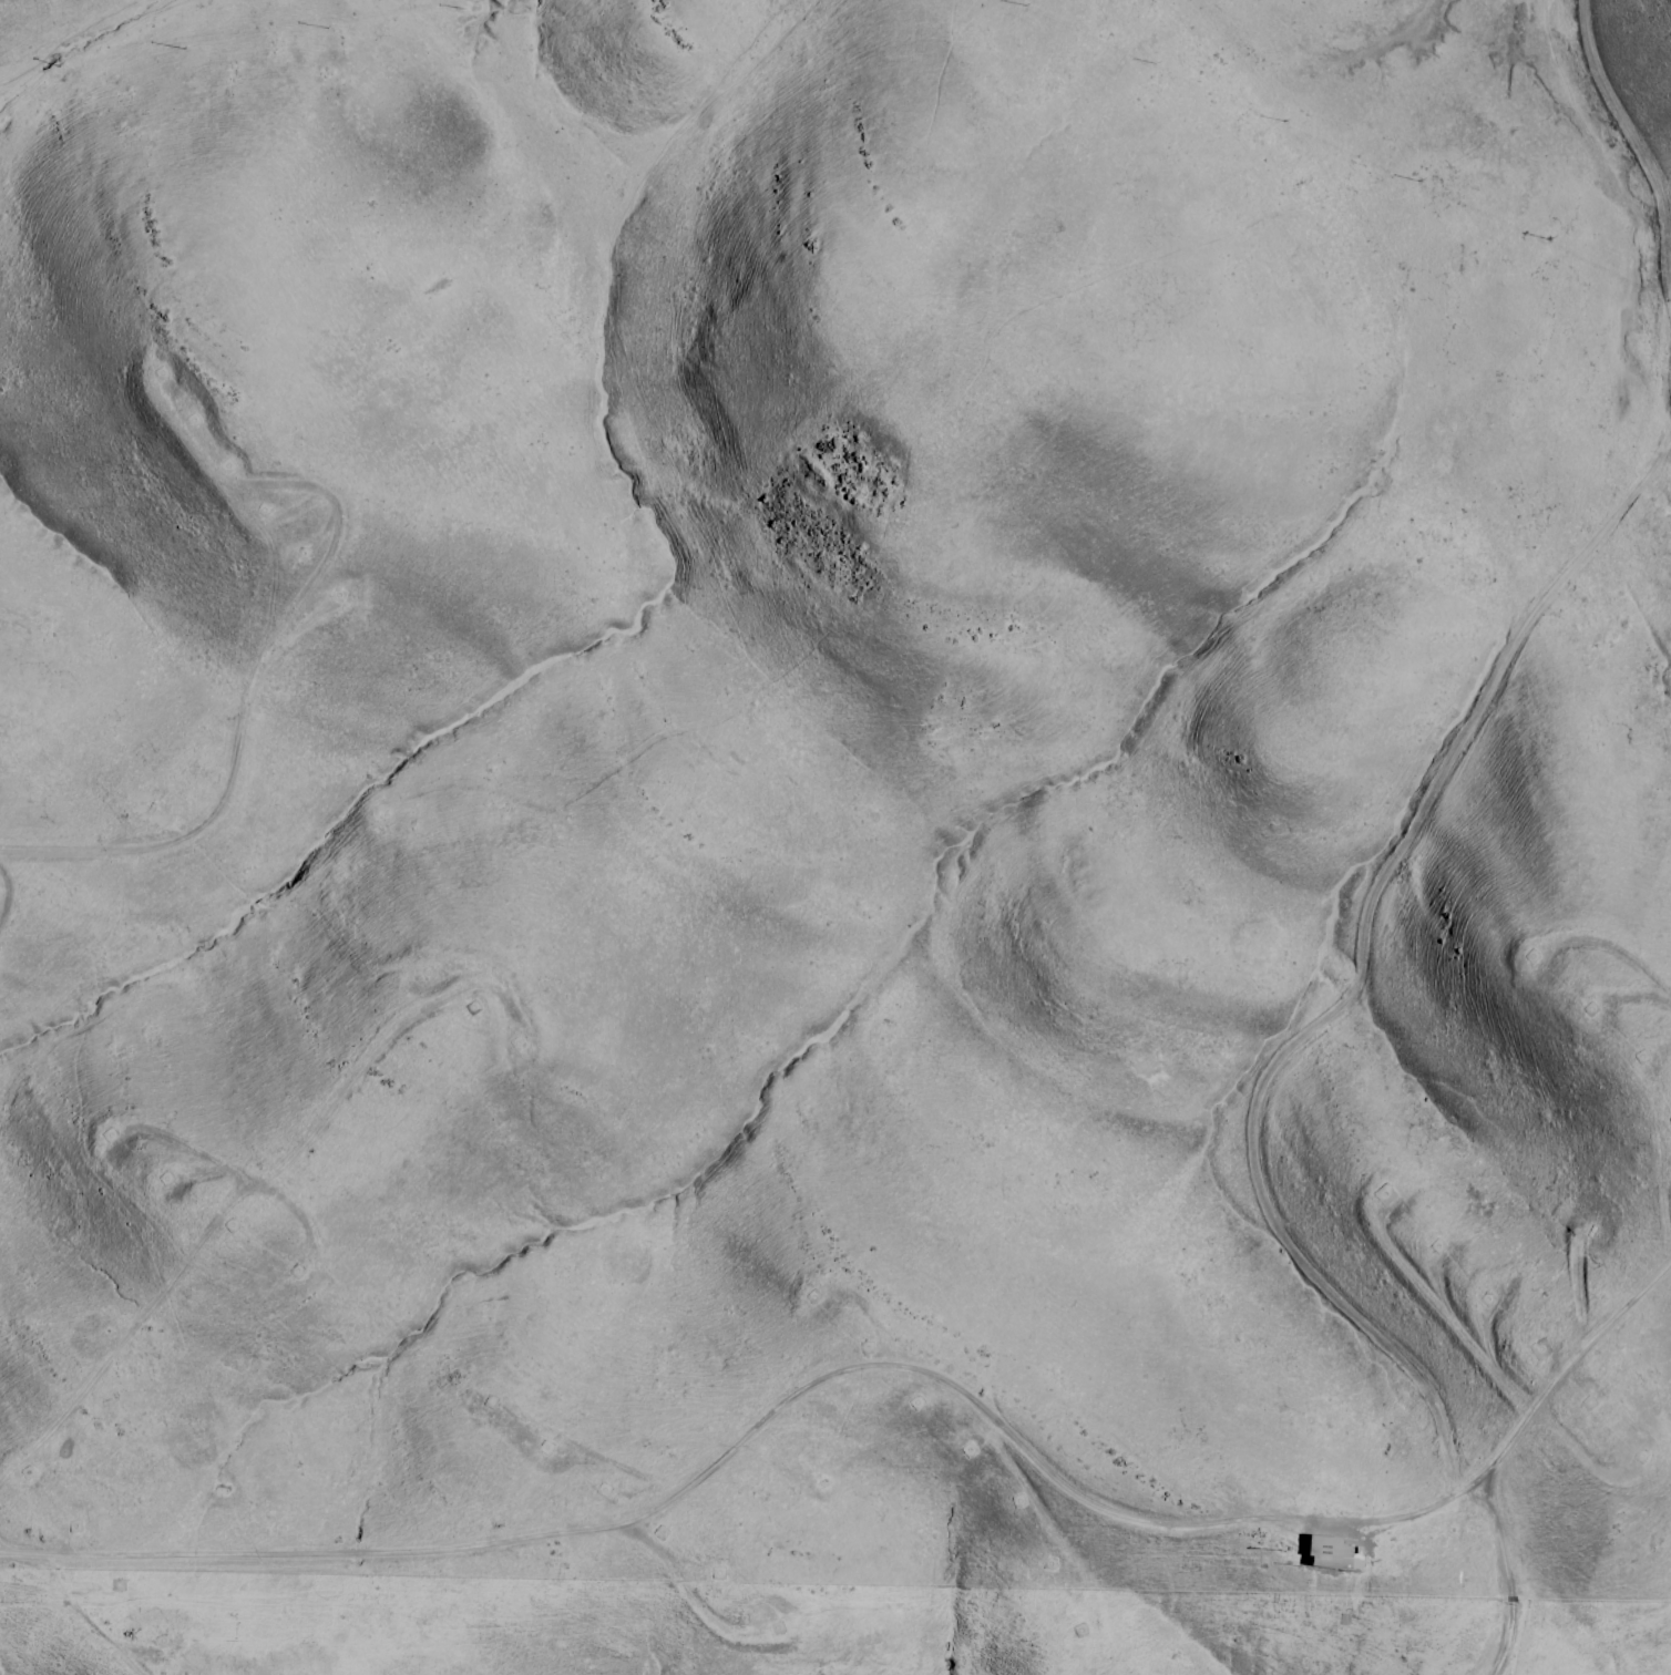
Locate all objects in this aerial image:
road: (1496, 1451)
road: (1507, 1574)

